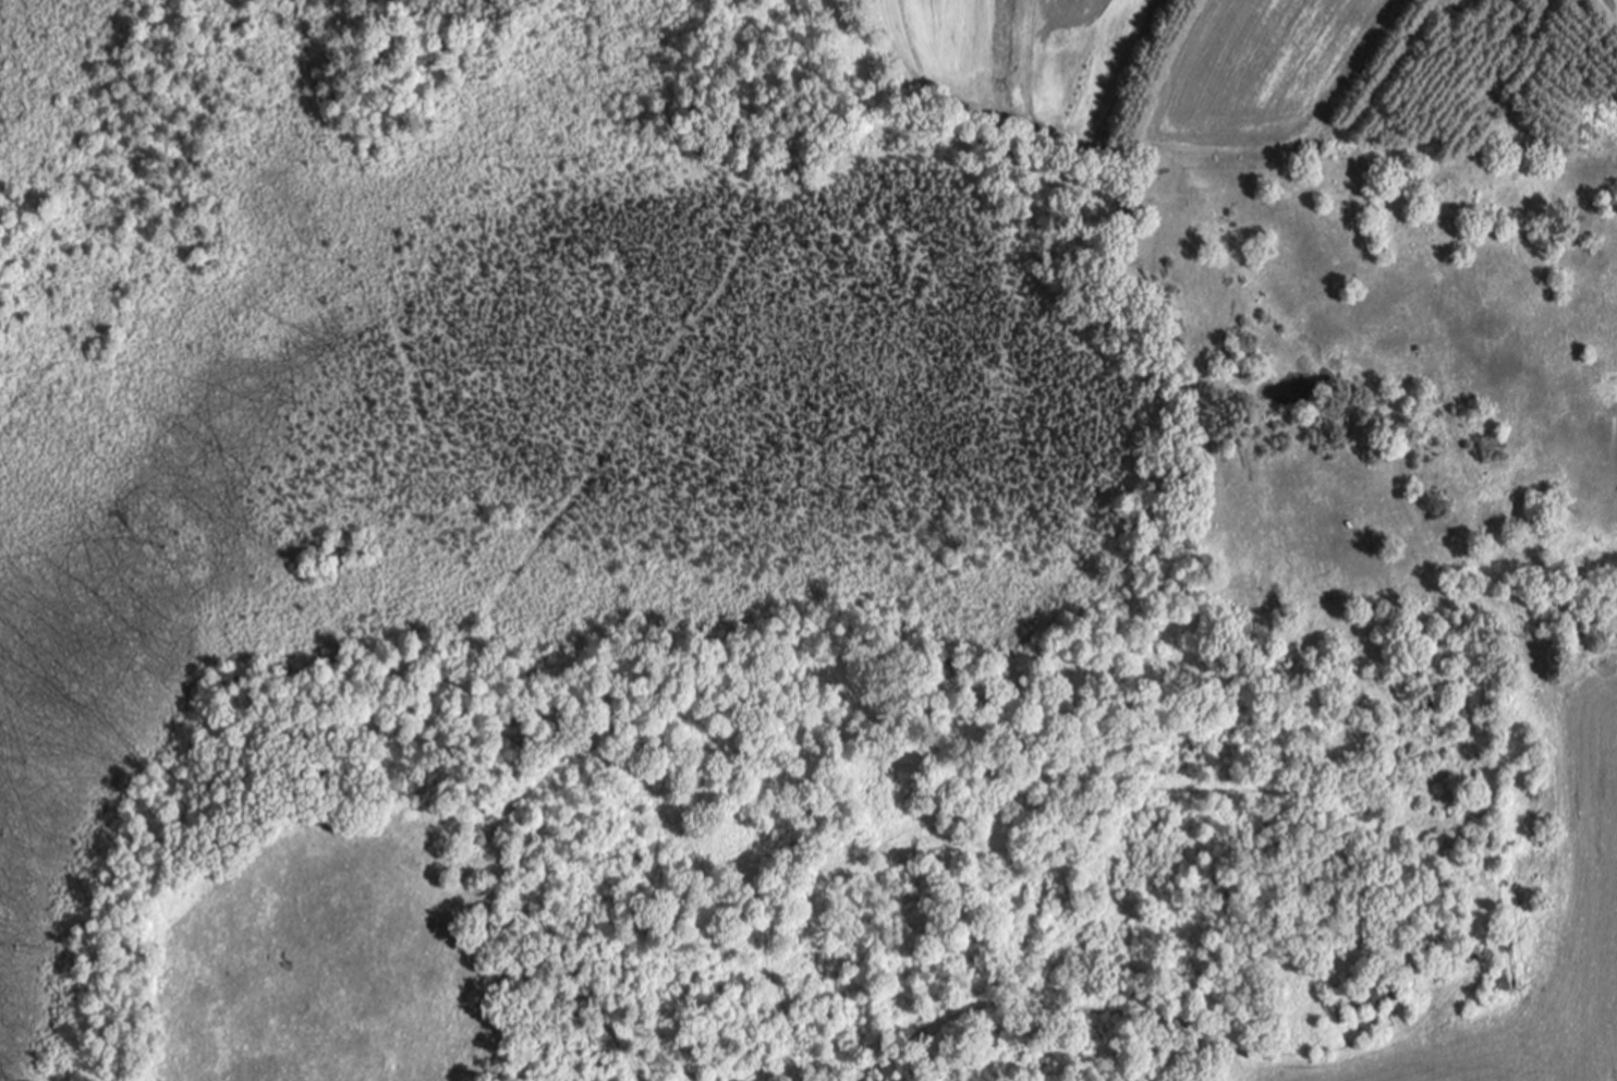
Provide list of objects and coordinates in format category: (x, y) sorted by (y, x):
building: (1496, 983)
building: (1382, 995)

